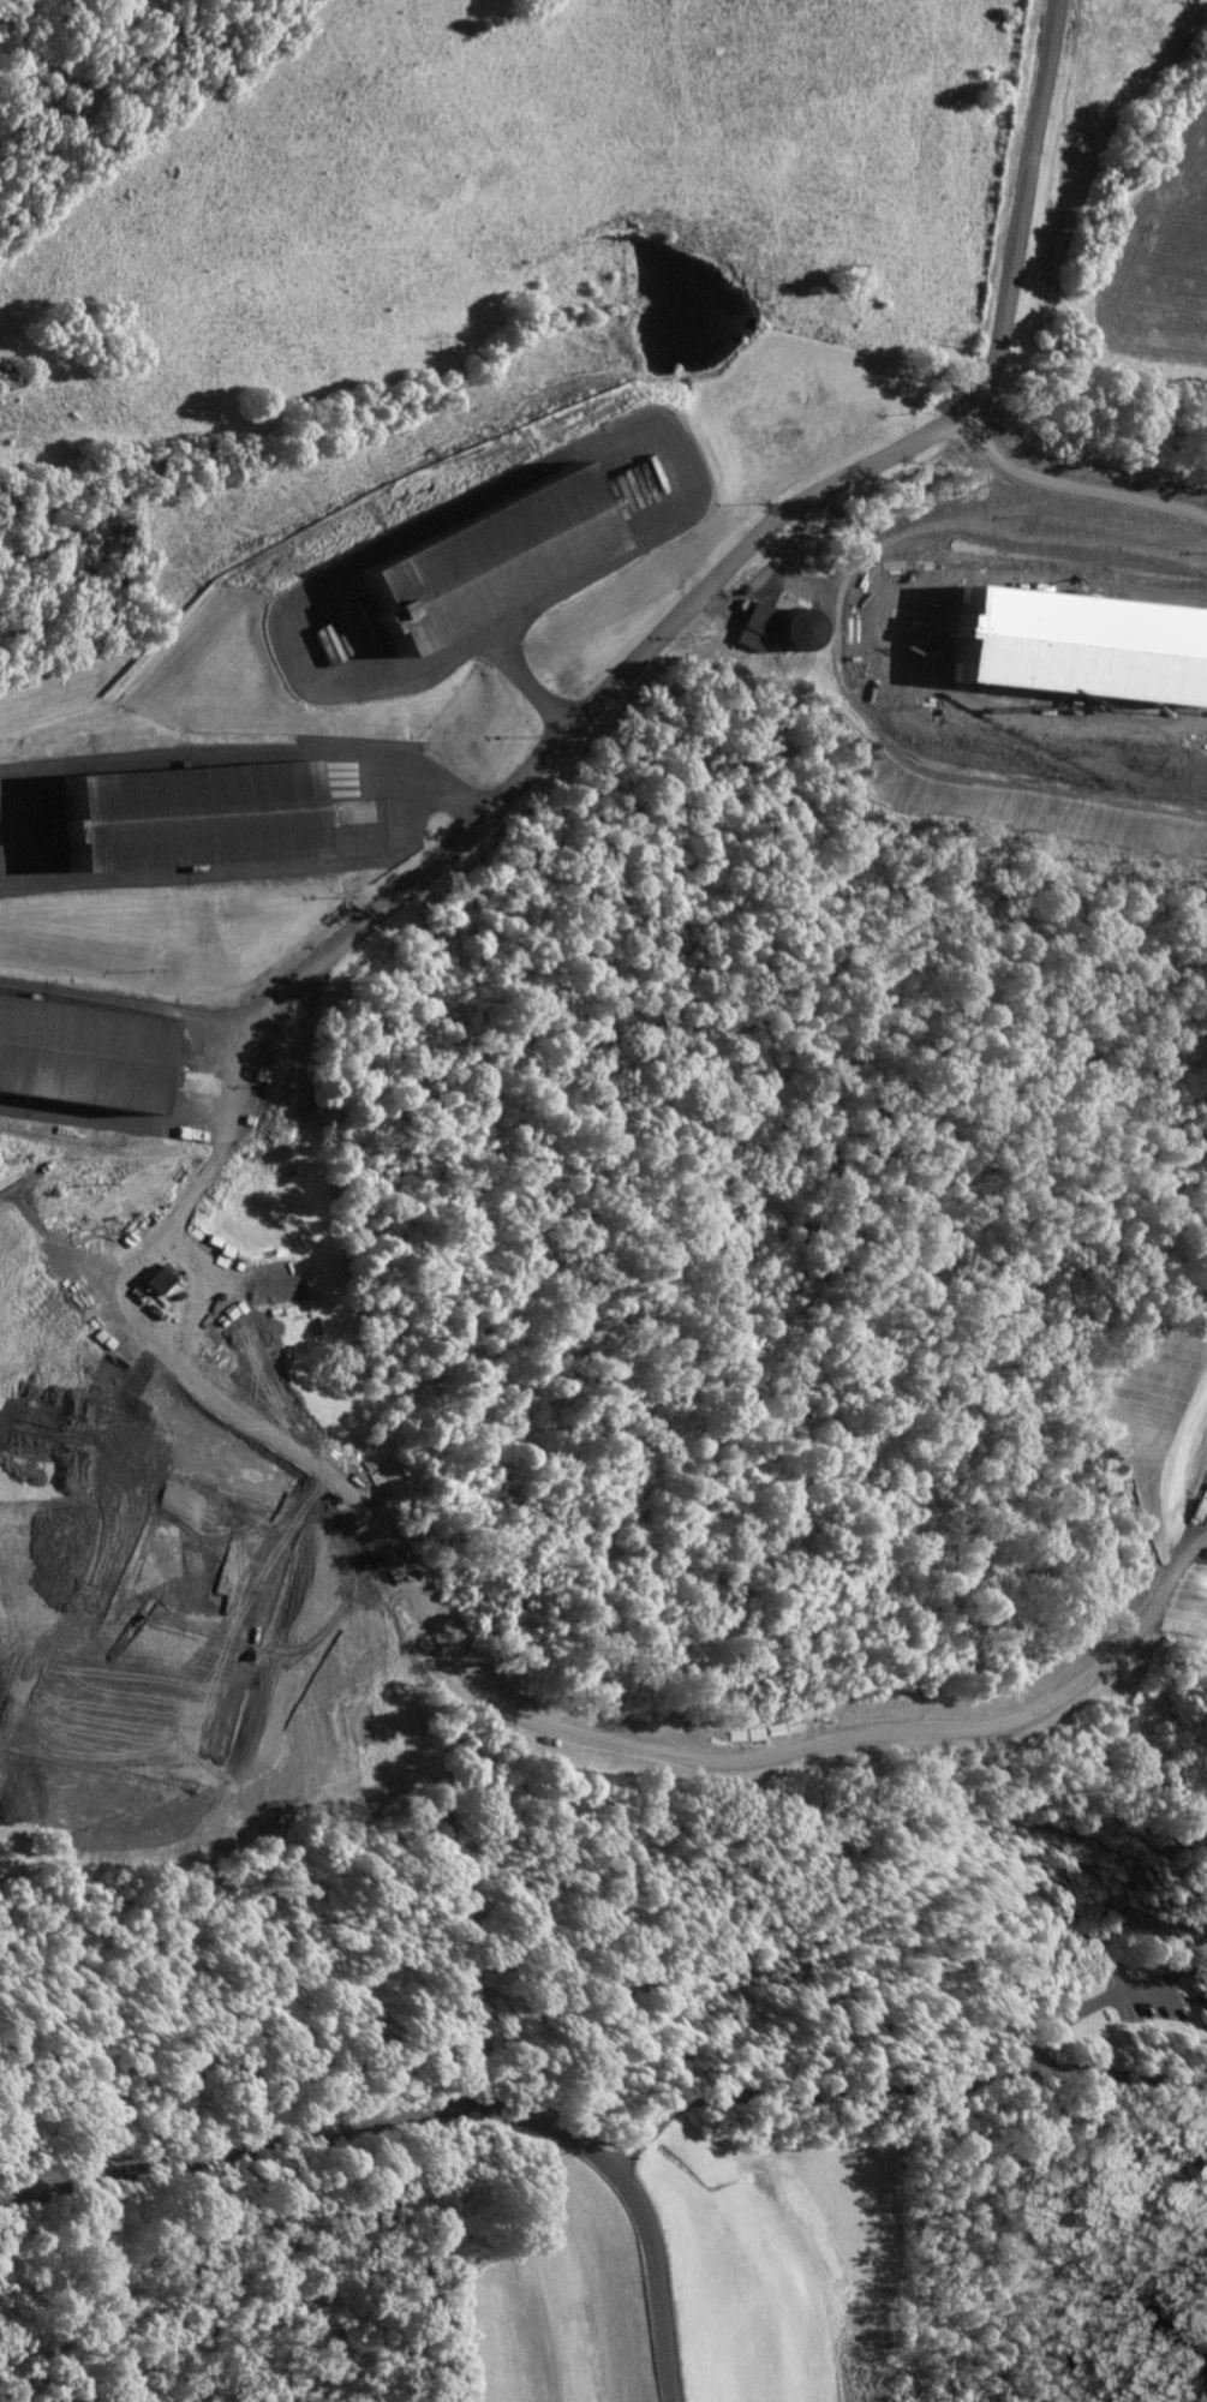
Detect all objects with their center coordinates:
building: (1202, 246)
road: (1070, 485)
road: (431, 518)
building: (488, 555)
building: (757, 625)
building: (795, 627)
road: (662, 632)
building: (1083, 643)
road: (211, 753)
road: (1, 776)
road: (454, 797)
building: (187, 815)
road: (228, 872)
road: (143, 1005)
building: (78, 1054)
building: (157, 1277)
road: (197, 1285)
building: (29, 1412)
building: (166, 1607)
road: (697, 1757)
parking lot: (1148, 1974)
road: (1098, 2009)
parking lot: (1173, 2010)
road: (900, 2086)
road: (435, 2104)

